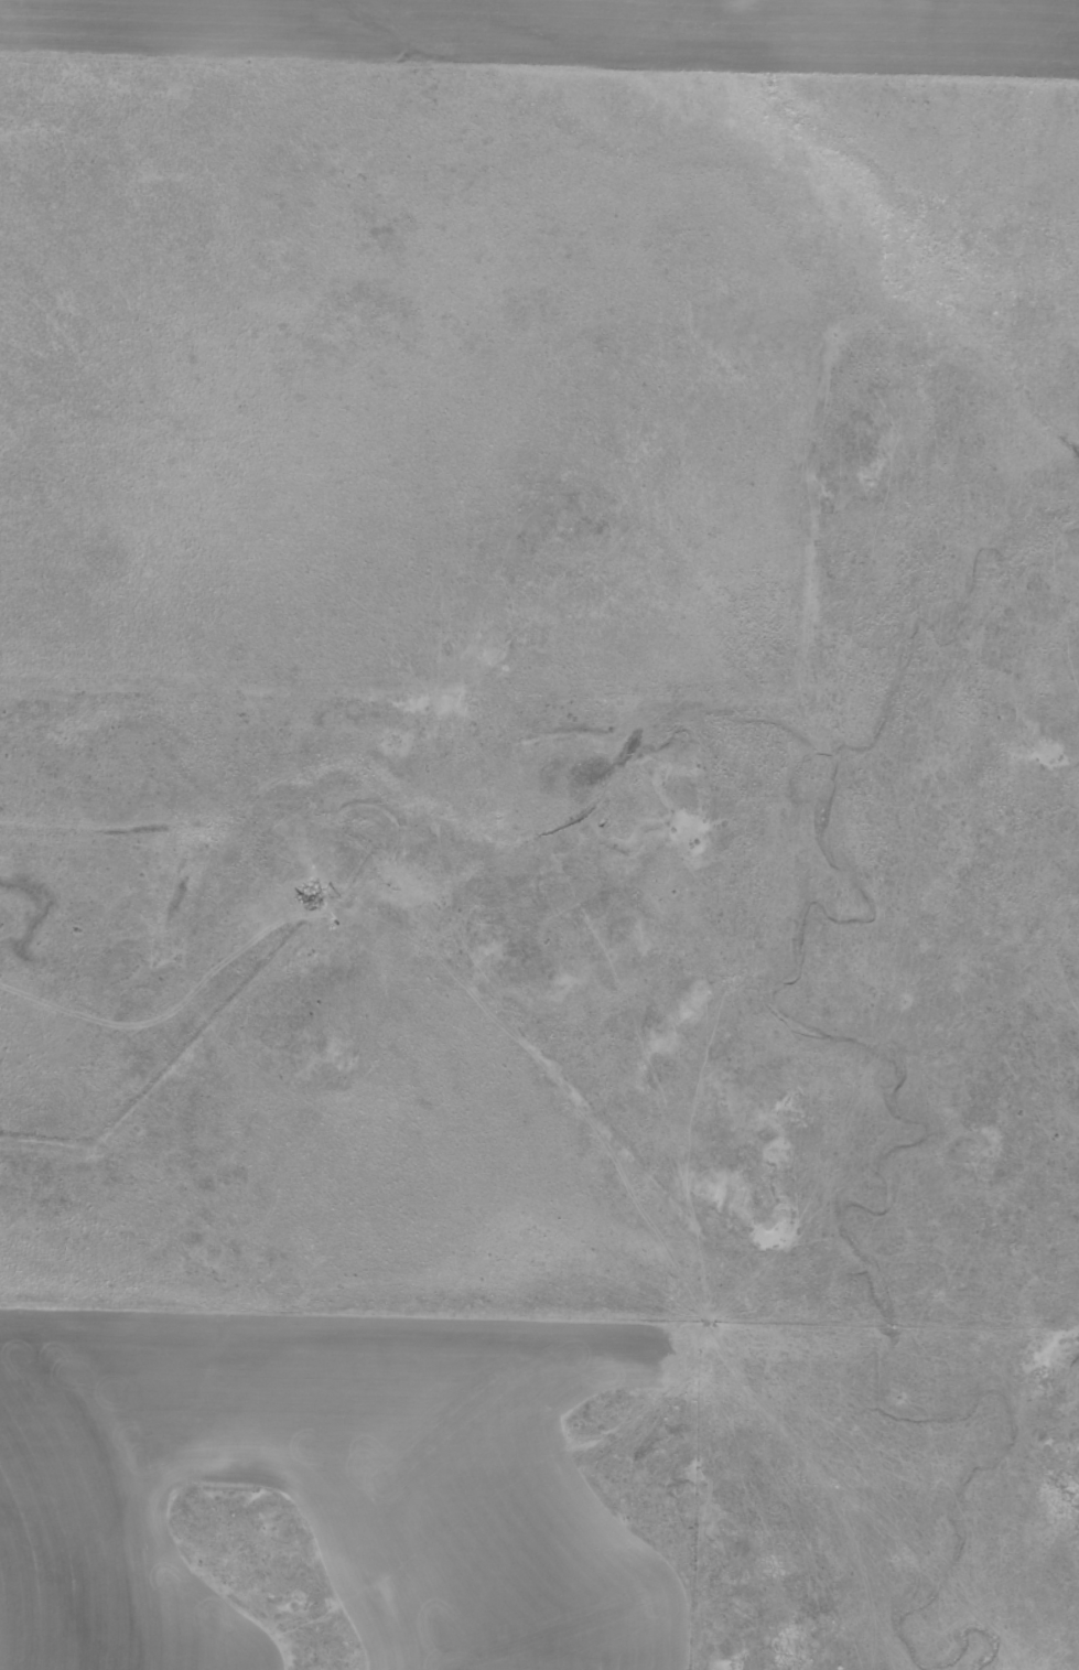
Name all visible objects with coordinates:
road: (161, 1028)

